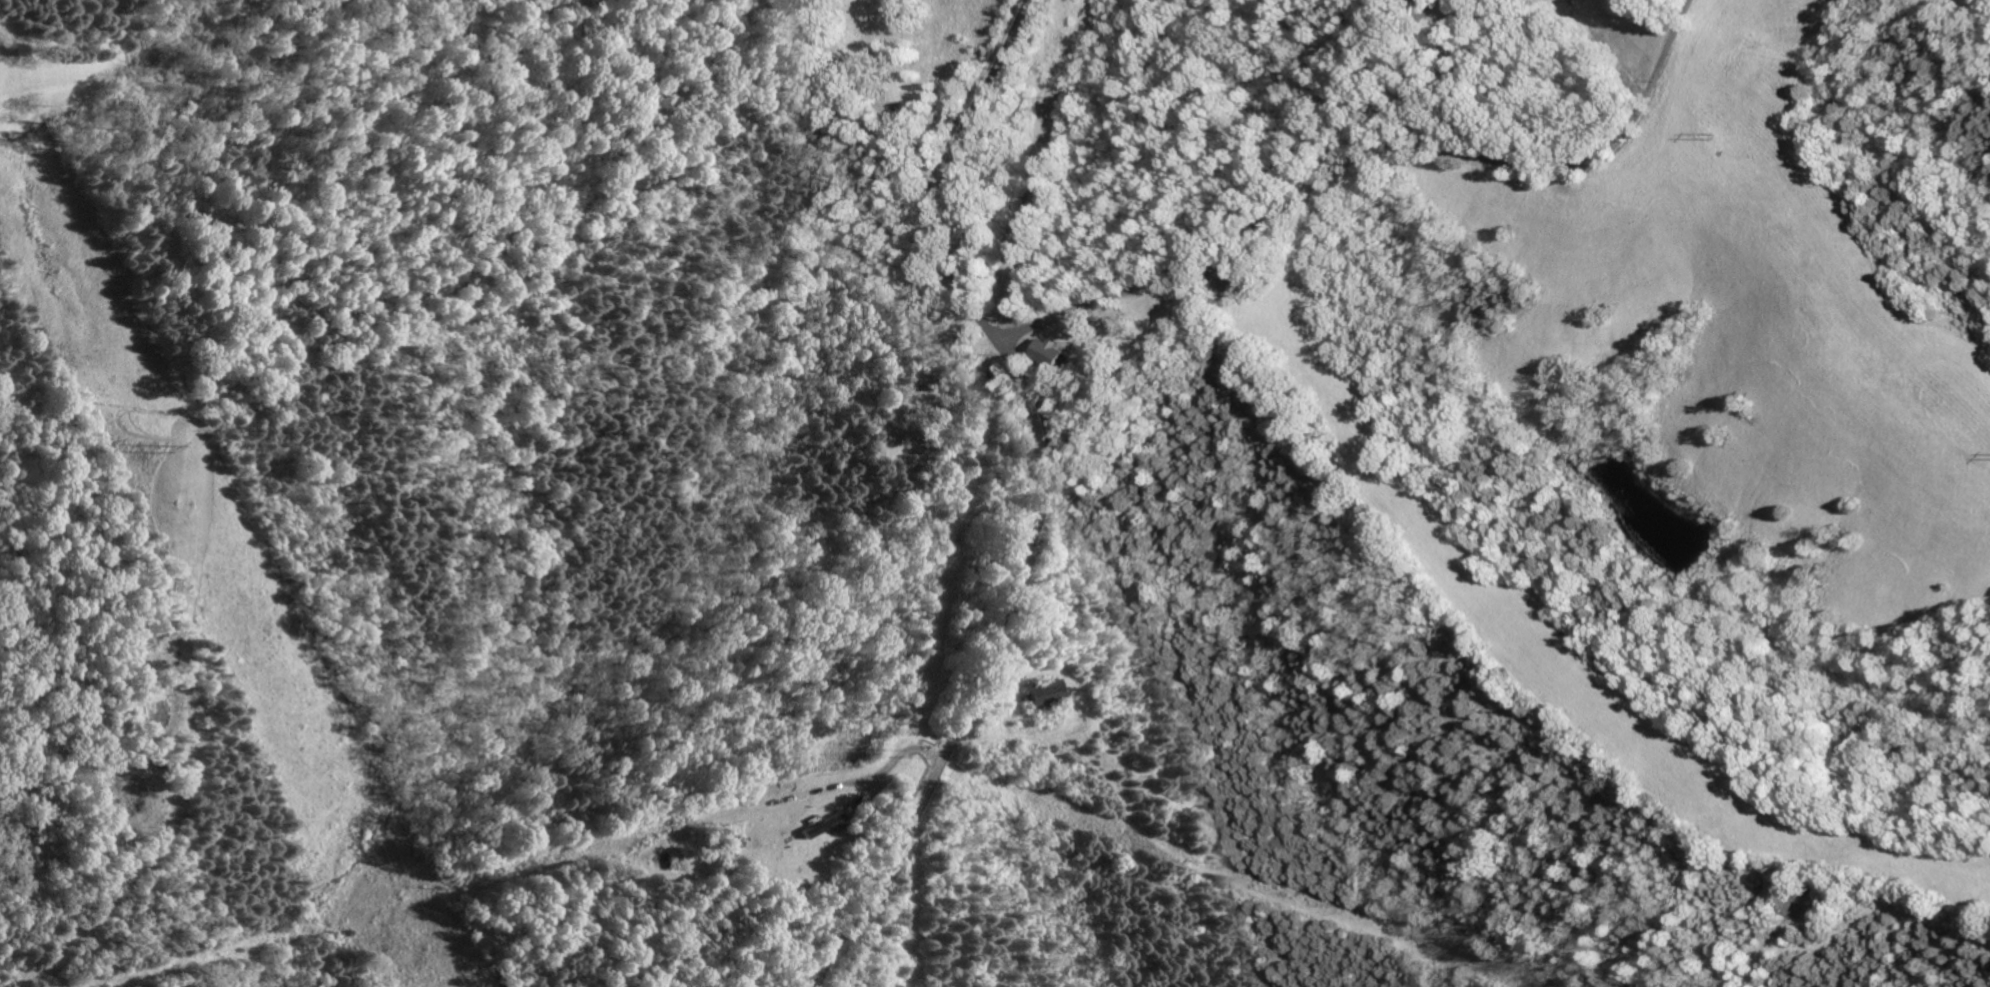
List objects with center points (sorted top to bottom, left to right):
road: (869, 82)
road: (1370, 154)
building: (1060, 351)
building: (1047, 353)
road: (1043, 494)
building: (1033, 696)
building: (833, 824)
building: (815, 828)
building: (731, 843)

